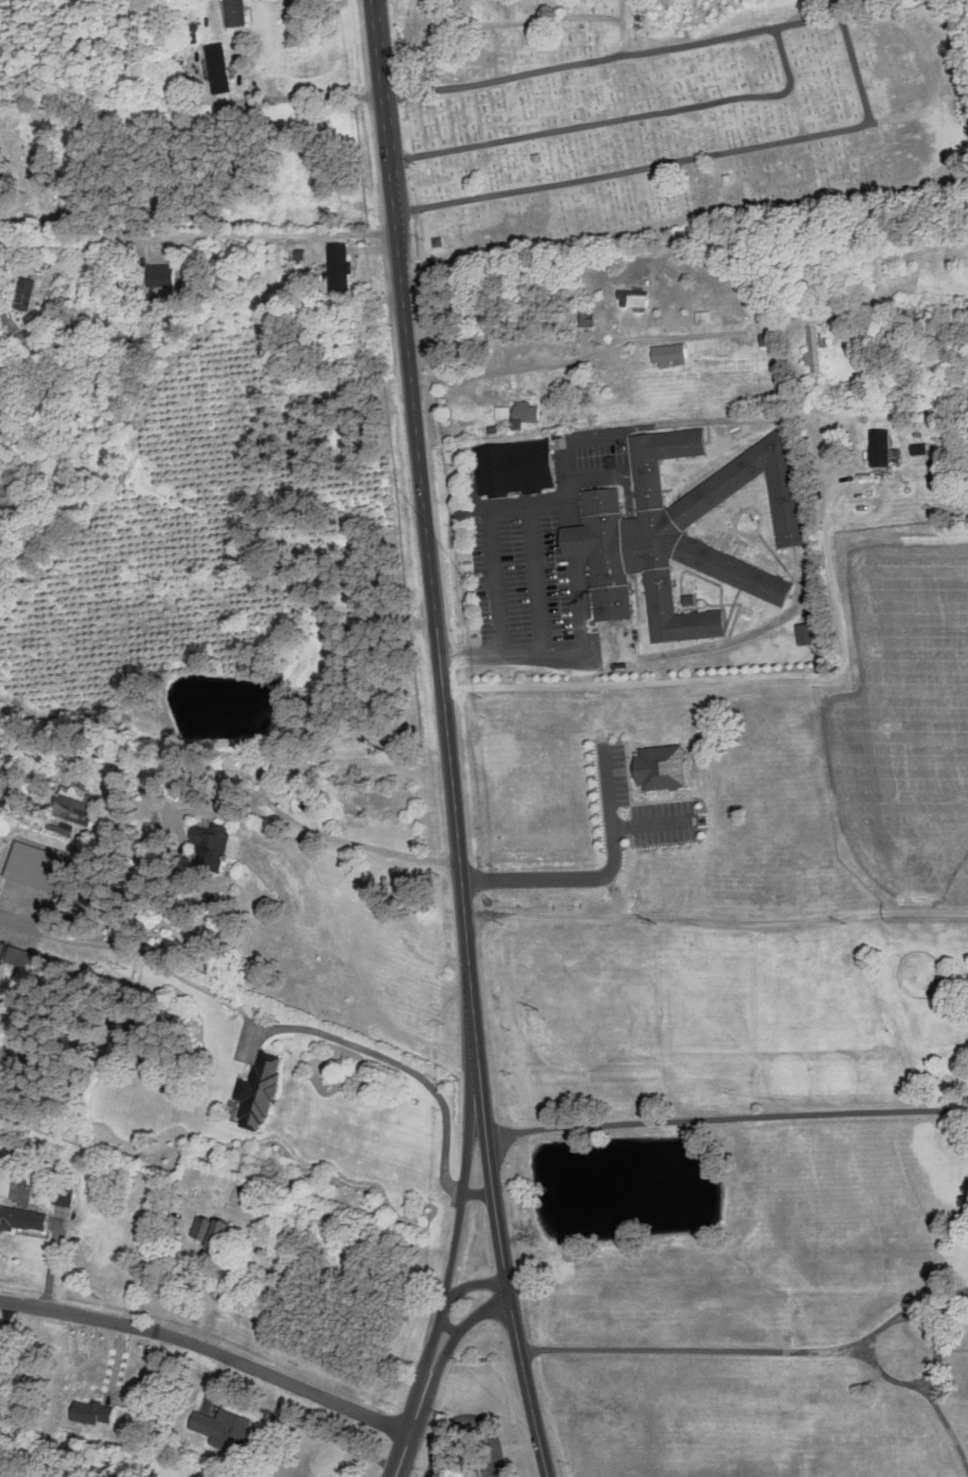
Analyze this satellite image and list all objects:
building: (234, 13)
building: (217, 68)
road: (306, 96)
park: (667, 120)
road: (272, 233)
building: (338, 267)
building: (161, 276)
building: (24, 293)
building: (632, 299)
building: (702, 318)
building: (813, 350)
building: (668, 355)
road: (558, 363)
building: (526, 412)
road: (716, 419)
building: (879, 448)
building: (514, 469)
road: (598, 476)
road: (510, 509)
building: (624, 540)
building: (803, 633)
road: (623, 650)
road: (440, 652)
road: (806, 669)
building: (688, 786)
building: (83, 799)
building: (756, 802)
road: (279, 807)
road: (652, 824)
road: (261, 827)
building: (211, 844)
building: (35, 866)
road: (599, 876)
road: (3, 914)
building: (1, 949)
road: (405, 1066)
building: (256, 1093)
road: (726, 1118)
road: (463, 1191)
road: (478, 1192)
building: (63, 1195)
building: (23, 1219)
road: (148, 1227)
building: (210, 1231)
road: (467, 1286)
road: (5, 1321)
road: (448, 1344)
road: (211, 1346)
road: (708, 1347)
road: (528, 1390)
road: (936, 1409)
road: (467, 1418)
building: (222, 1427)
road: (405, 1446)

